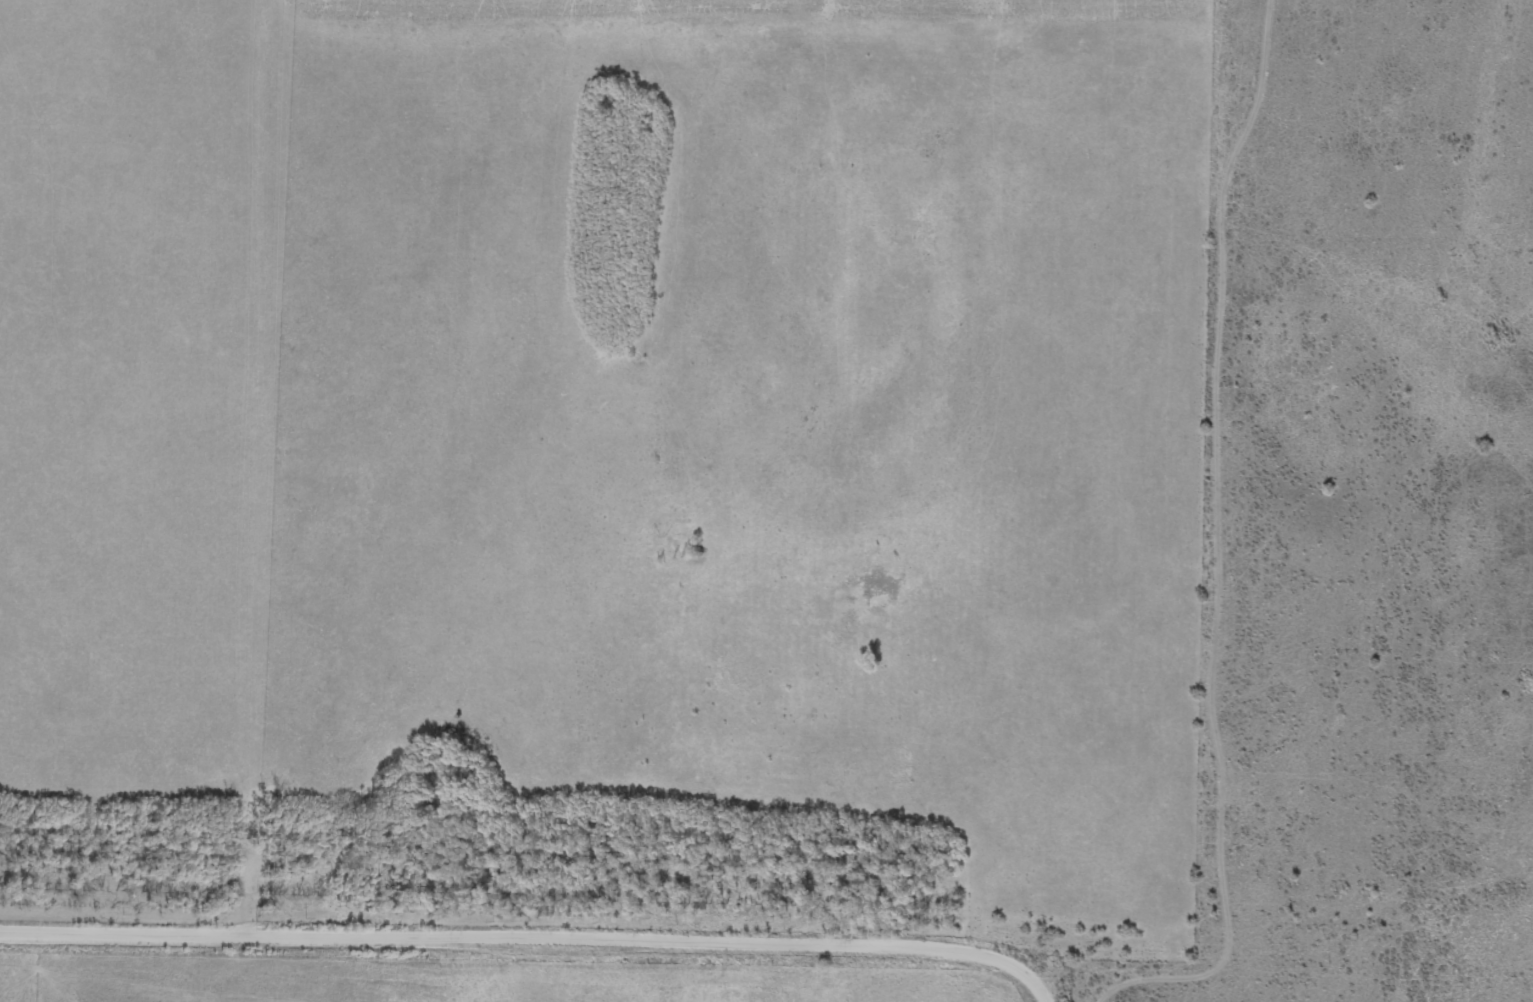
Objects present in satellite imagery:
road: (278, 464)
road: (536, 931)

